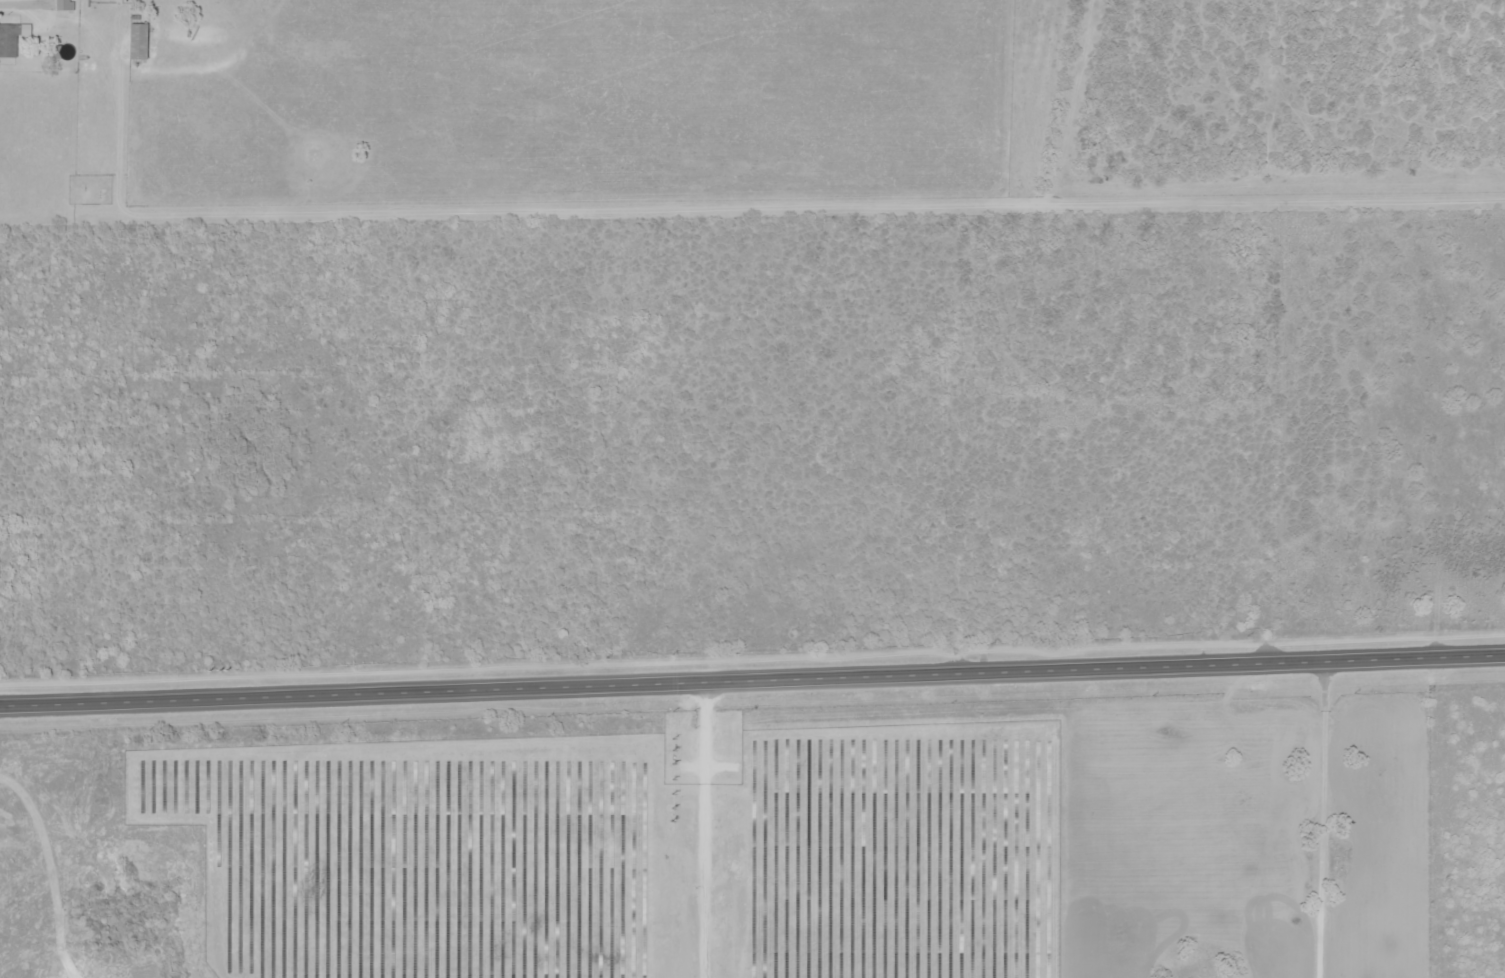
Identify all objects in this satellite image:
building: (64, 5)
building: (12, 37)
building: (140, 40)
road: (752, 675)
road: (1298, 820)

